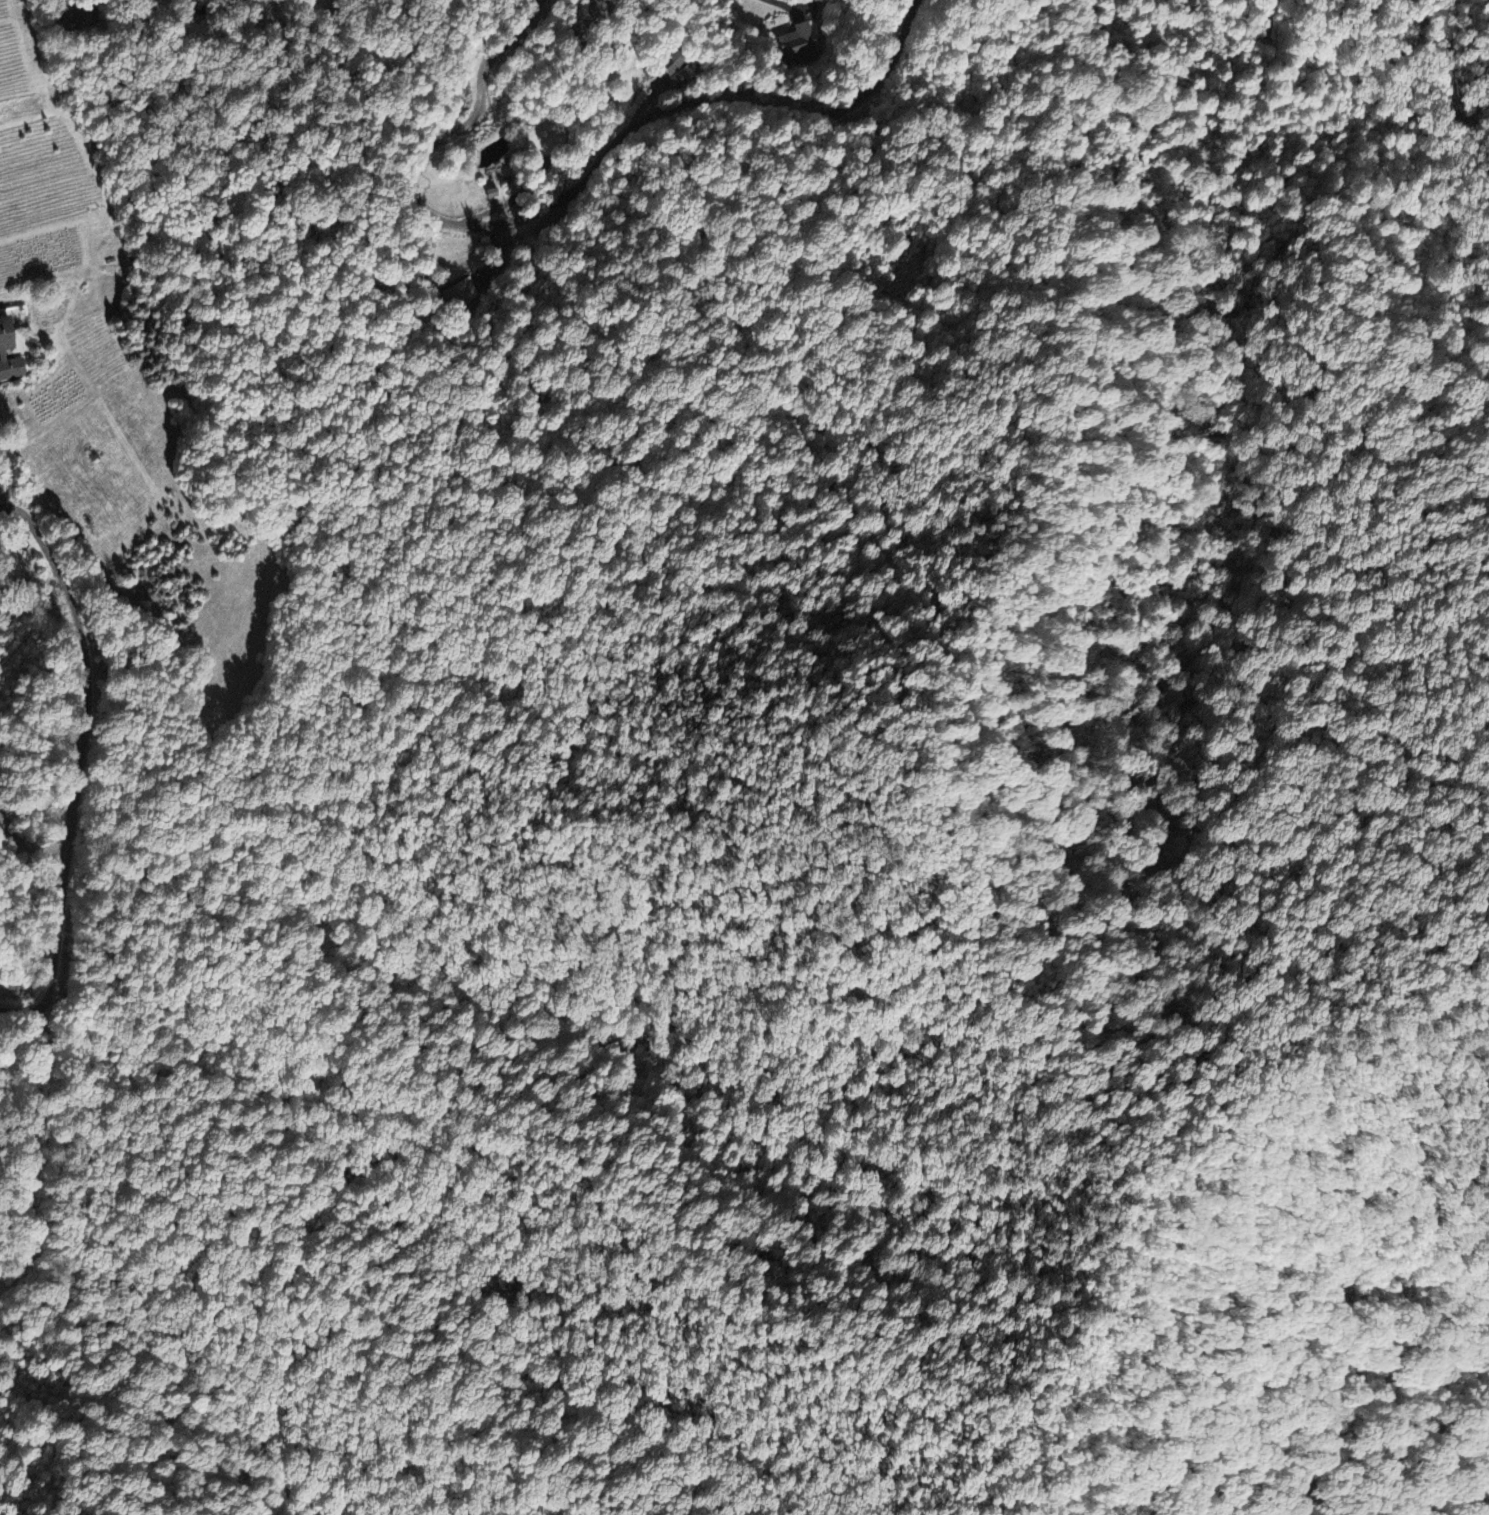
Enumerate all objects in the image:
building: (797, 46)
building: (678, 66)
building: (677, 82)
road: (584, 186)
building: (5, 351)
road: (86, 737)
road: (31, 848)
road: (25, 1012)

